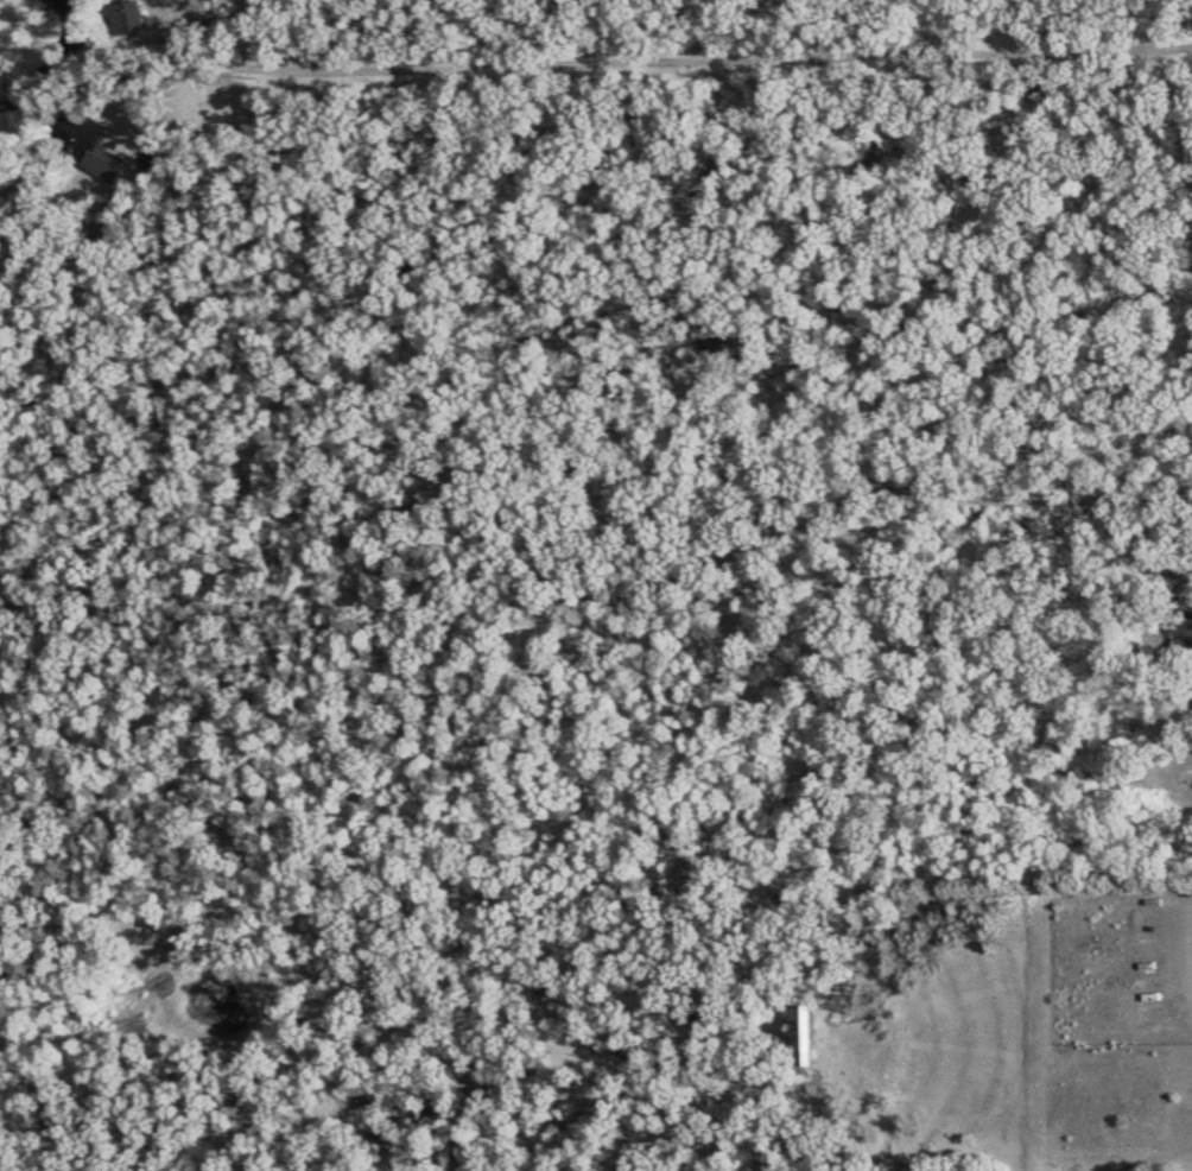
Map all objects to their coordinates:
road: (741, 49)
river: (50, 57)
road: (741, 230)
road: (741, 405)

